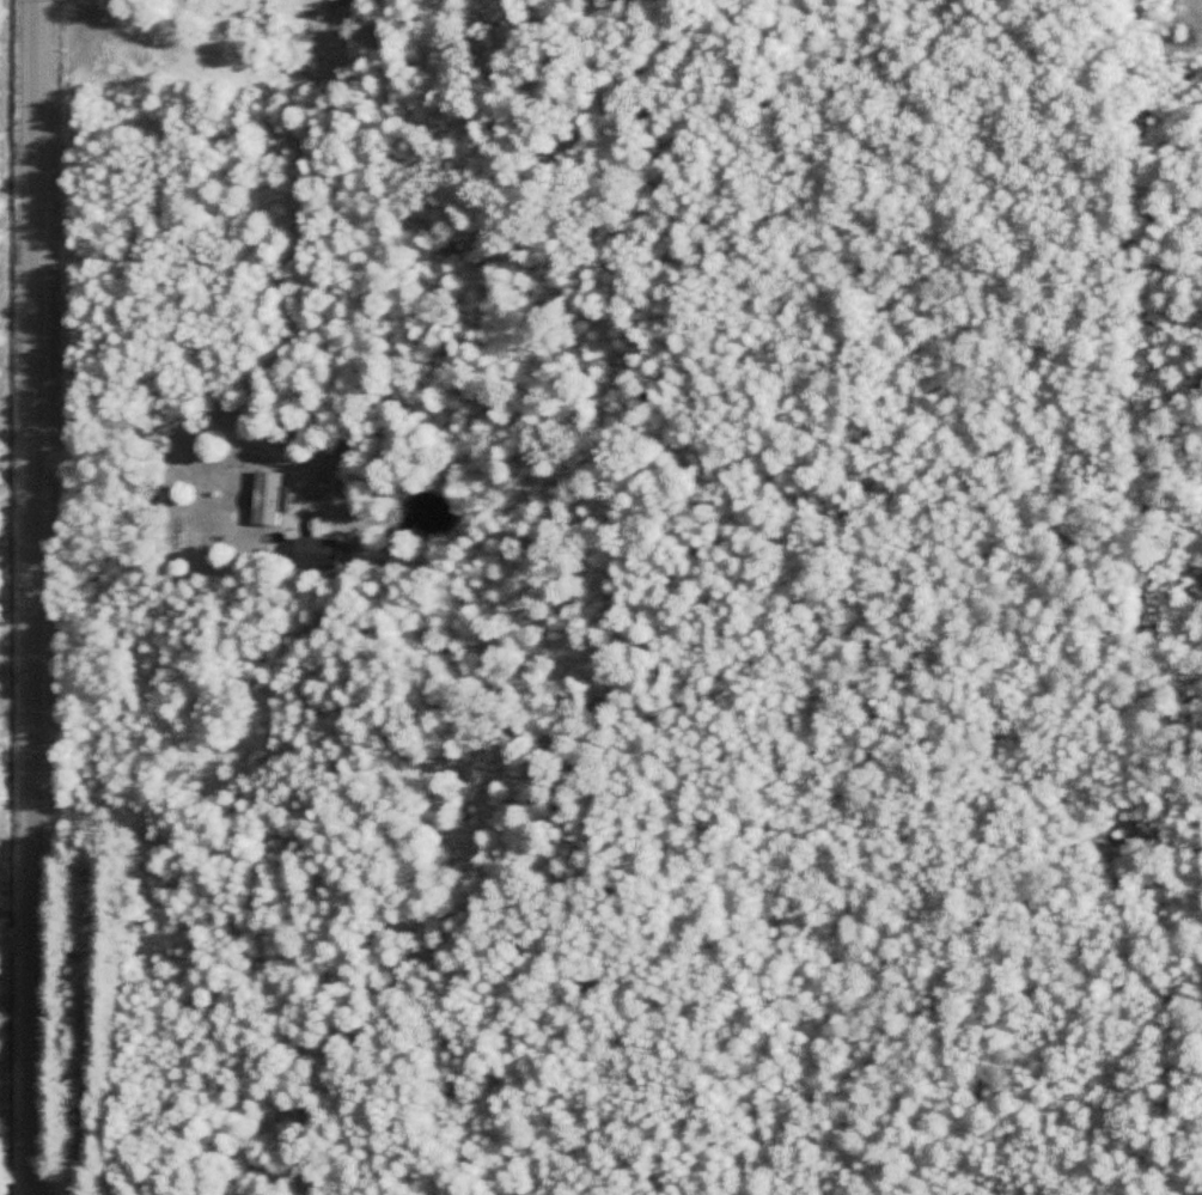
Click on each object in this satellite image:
road: (199, 423)
building: (267, 498)
building: (316, 553)
road: (39, 597)

